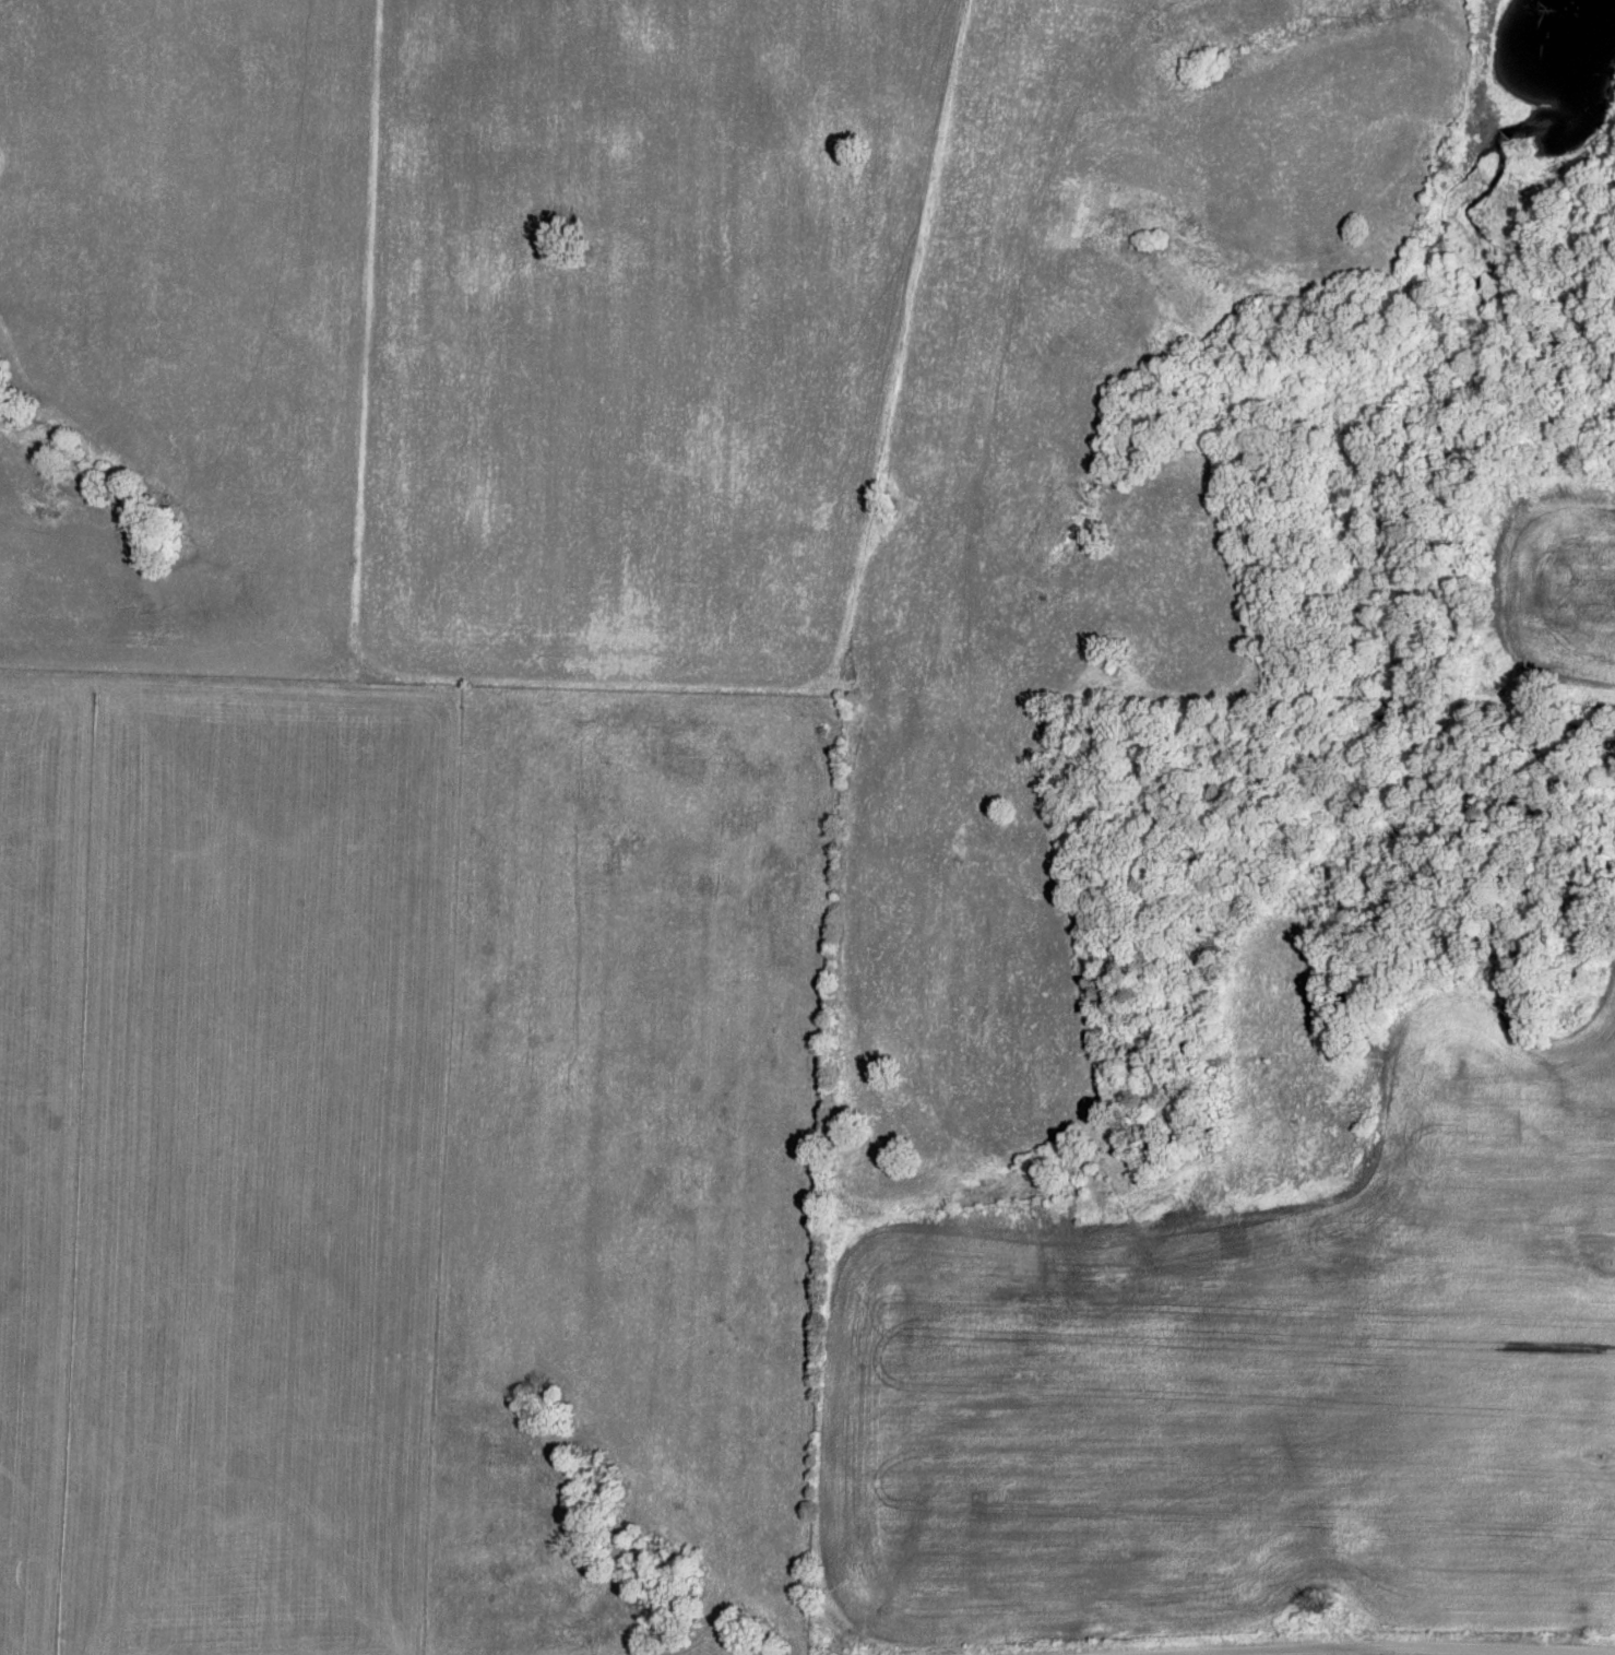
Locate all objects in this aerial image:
road: (1398, 1646)

